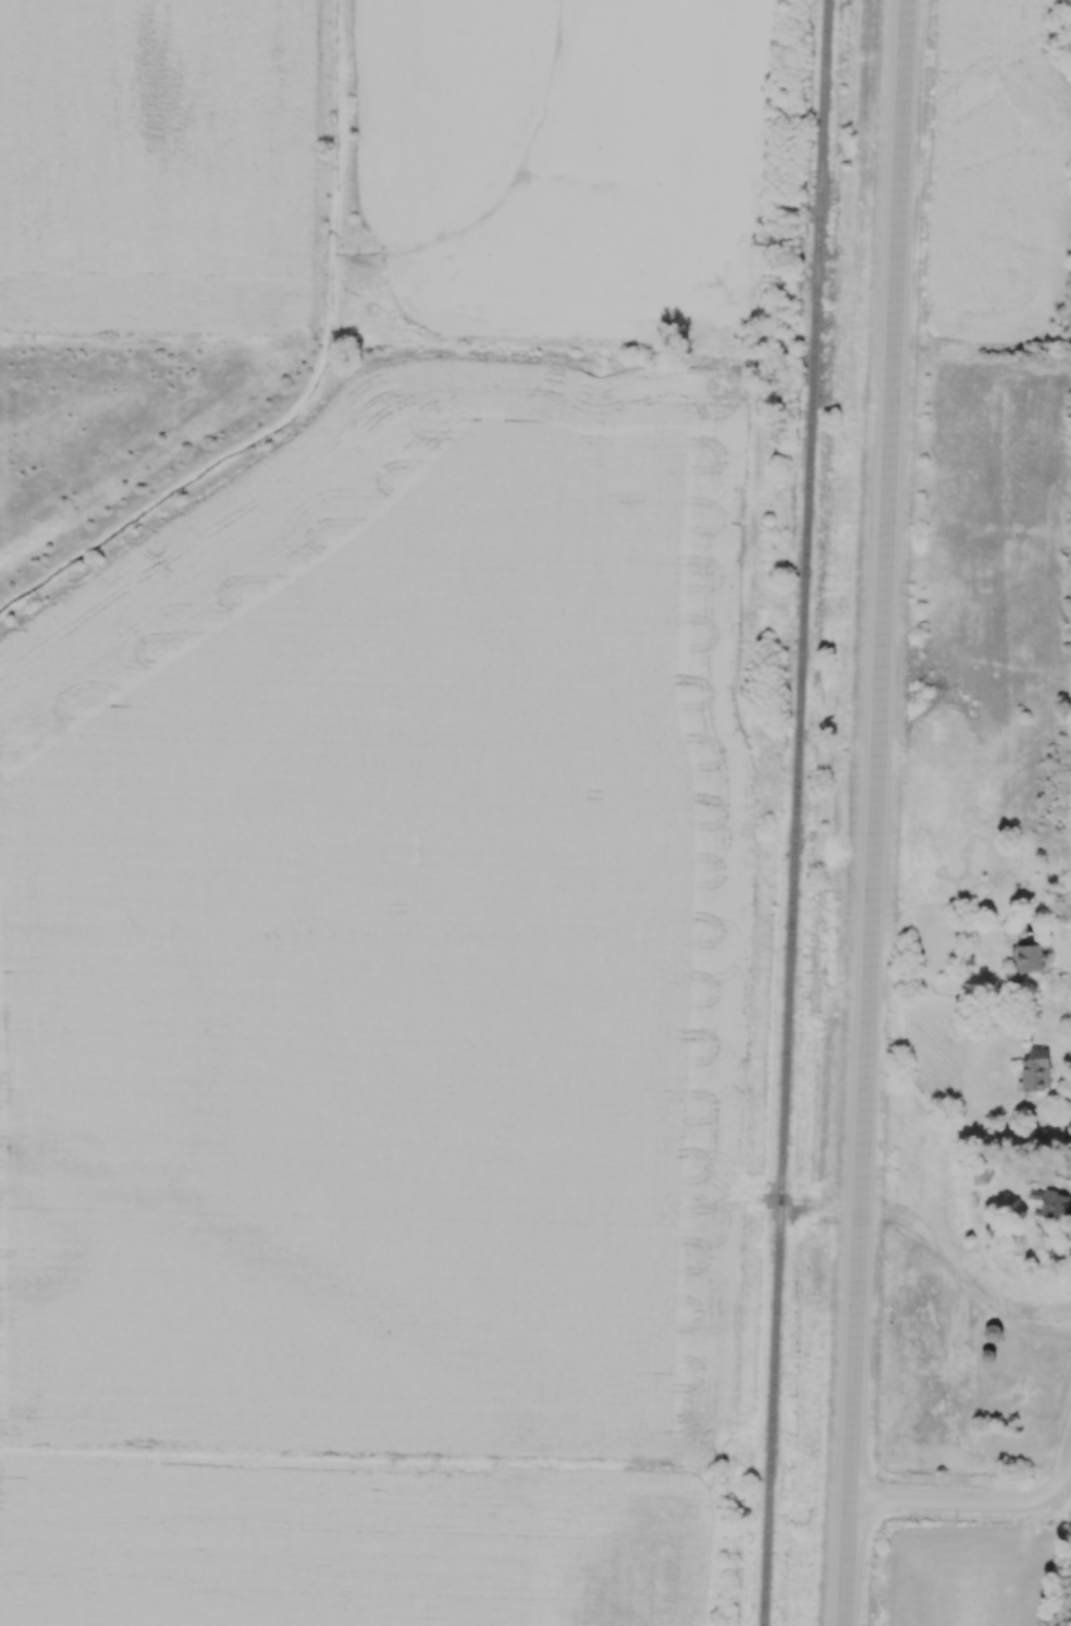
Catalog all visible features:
railway: (795, 812)
road: (867, 812)
building: (1033, 959)
building: (1039, 1073)
building: (982, 1179)
building: (1052, 1205)
building: (995, 1335)
road: (985, 1503)

